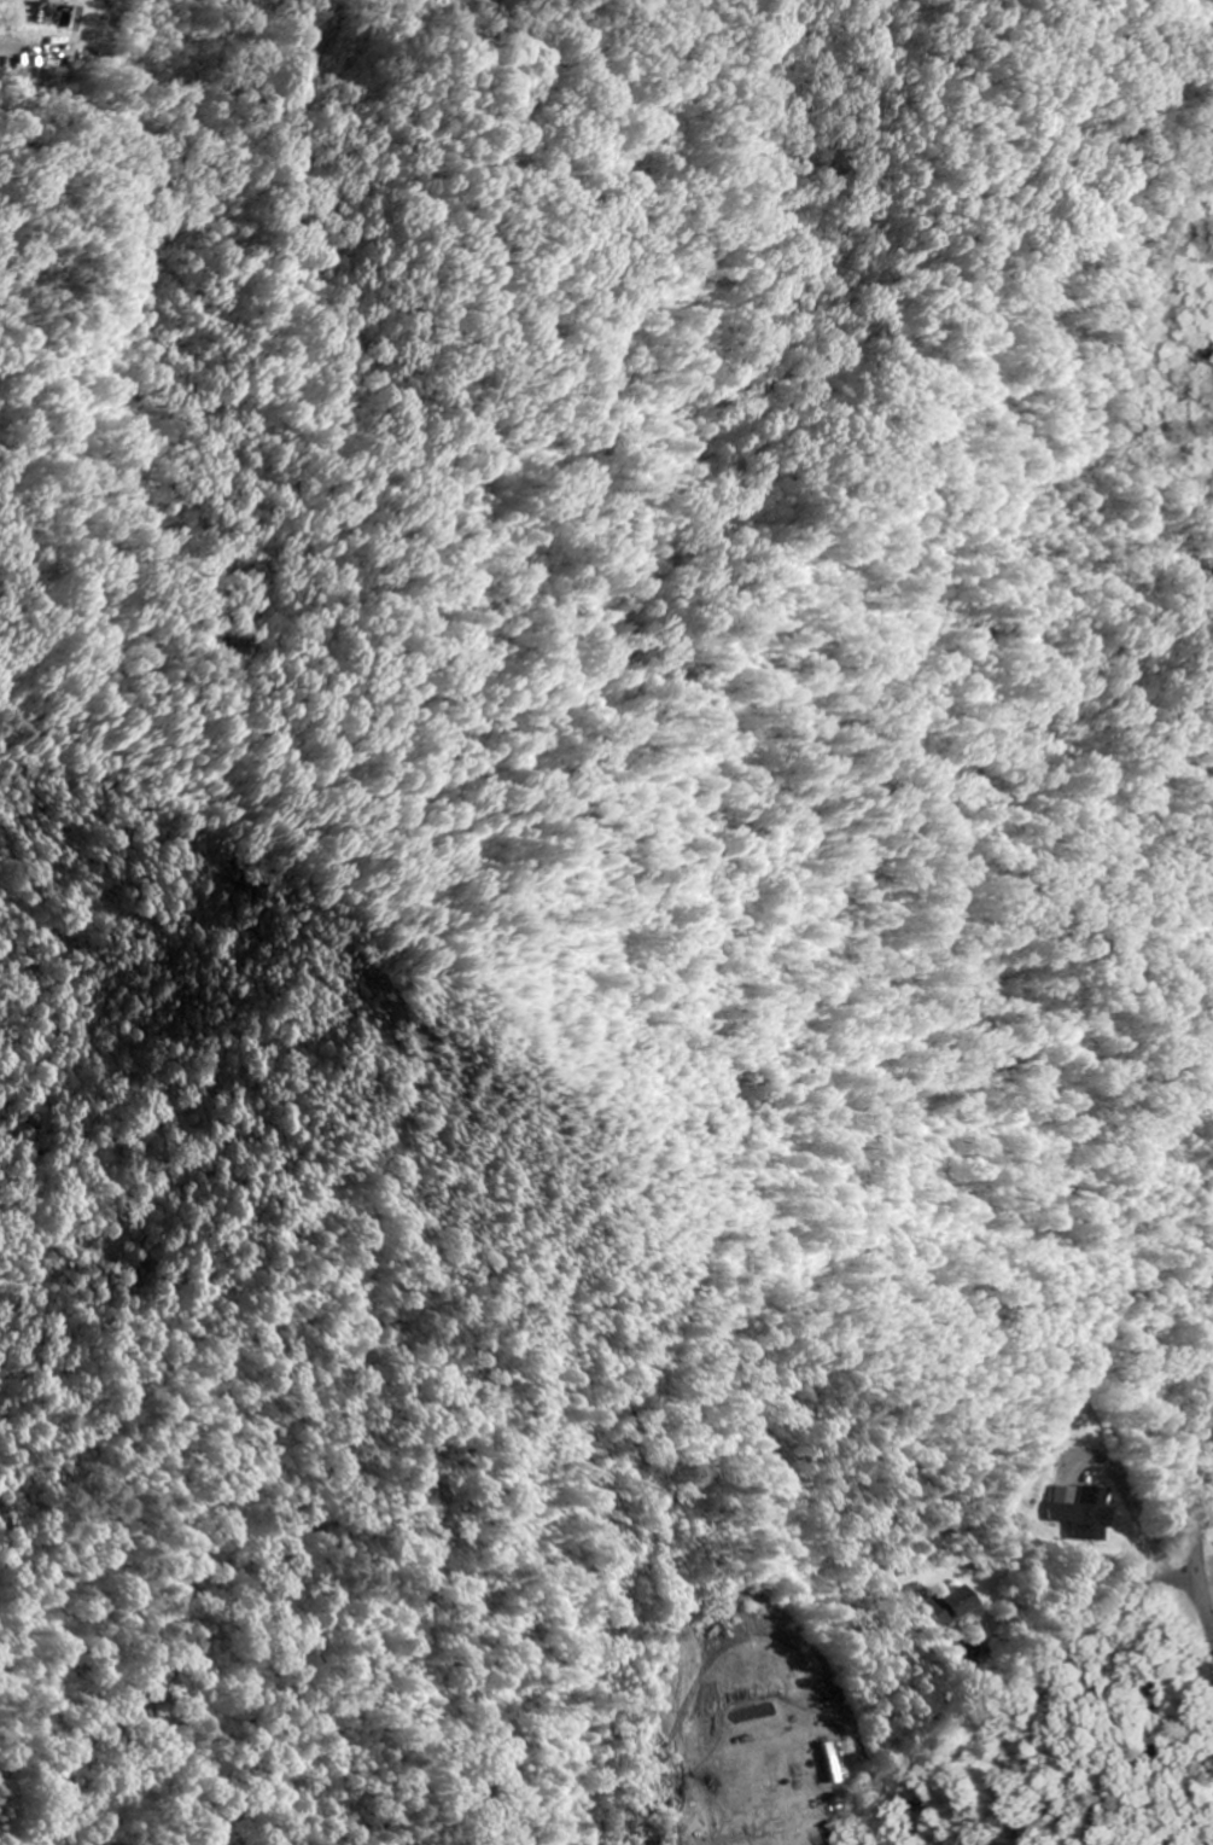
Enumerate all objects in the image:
building: (1085, 1514)
road: (1201, 1549)
road: (1071, 1575)
building: (950, 1607)
road: (1155, 1824)
building: (830, 1833)

